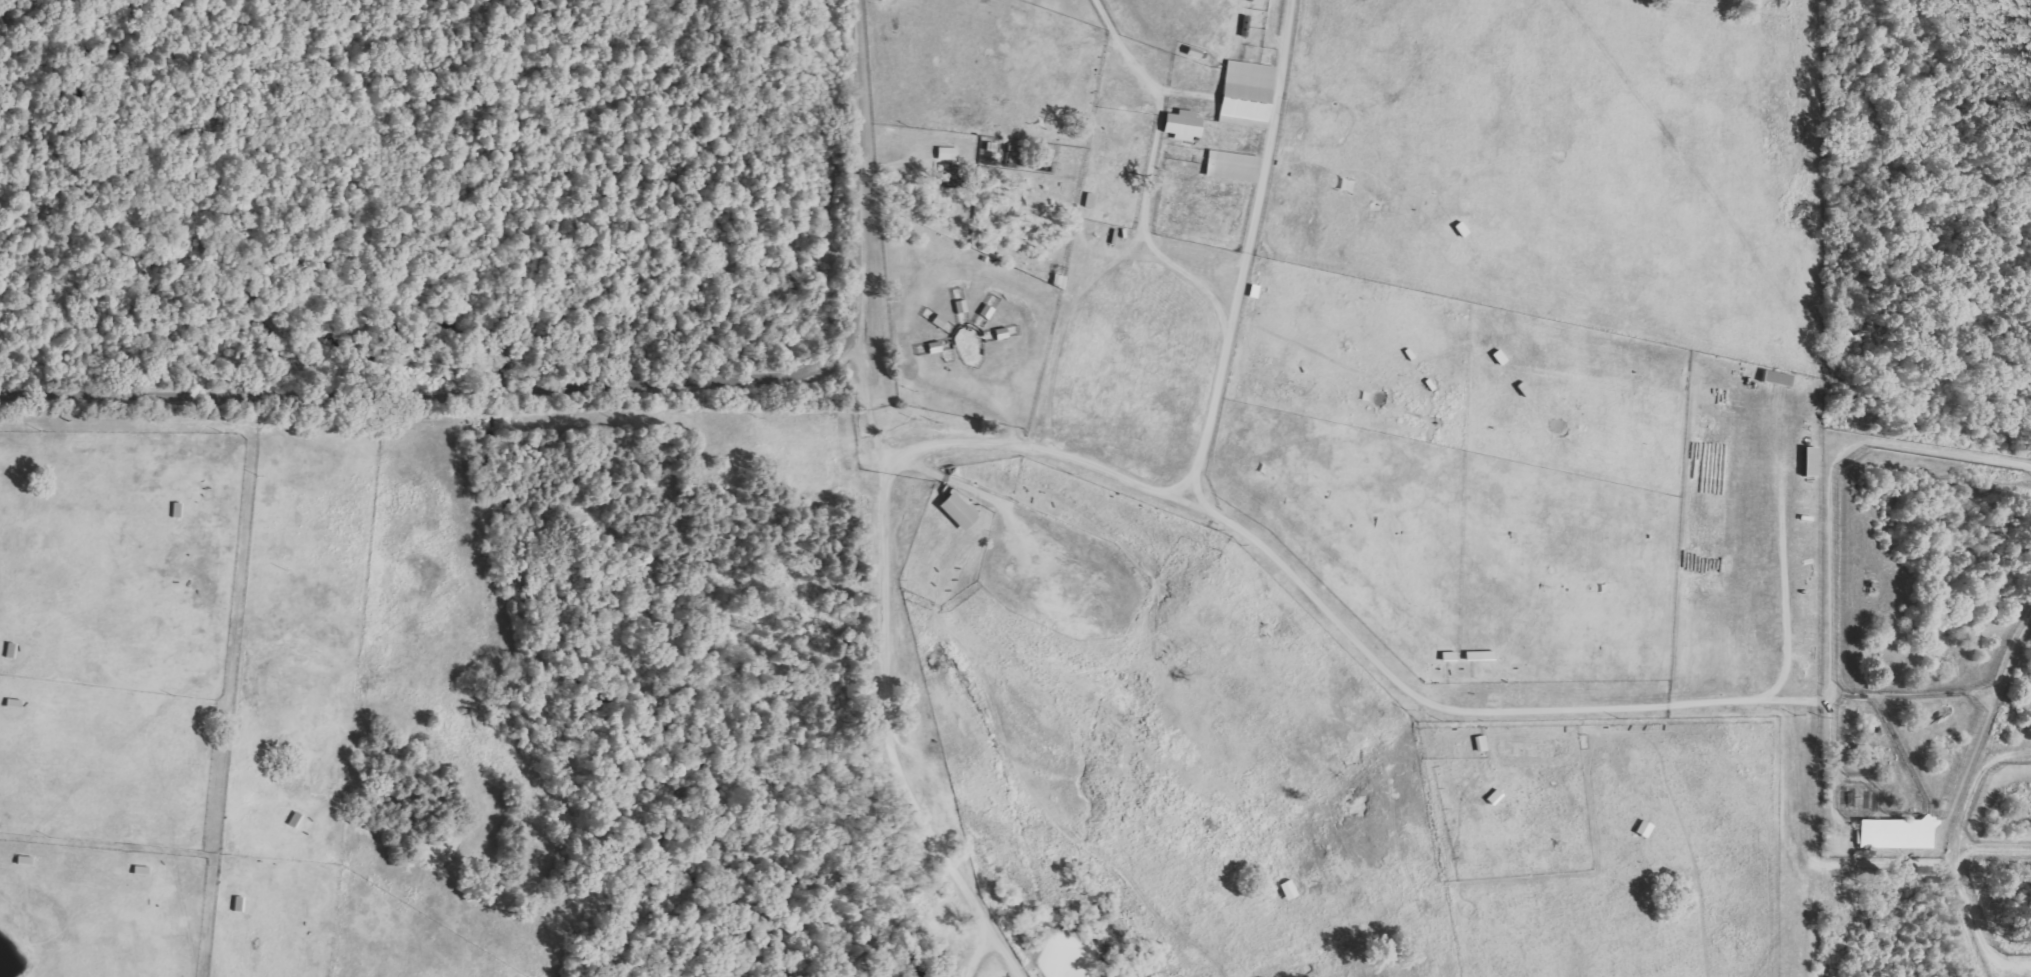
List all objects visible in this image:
building: (1243, 27)
building: (1244, 95)
building: (1179, 126)
building: (987, 147)
building: (945, 154)
building: (1230, 166)
building: (1087, 201)
building: (1459, 230)
building: (1056, 282)
building: (1252, 292)
building: (959, 307)
building: (984, 312)
building: (936, 322)
building: (998, 334)
building: (931, 348)
building: (1497, 358)
building: (1774, 379)
road: (601, 380)
building: (1522, 390)
road: (1213, 411)
building: (1807, 462)
building: (174, 511)
building: (954, 511)
building: (8, 652)
building: (1477, 656)
building: (1446, 657)
road: (882, 670)
building: (10, 704)
building: (1479, 744)
building: (1943, 764)
building: (1491, 797)
building: (292, 820)
building: (1641, 829)
building: (1892, 833)
building: (1286, 890)
building: (236, 904)

